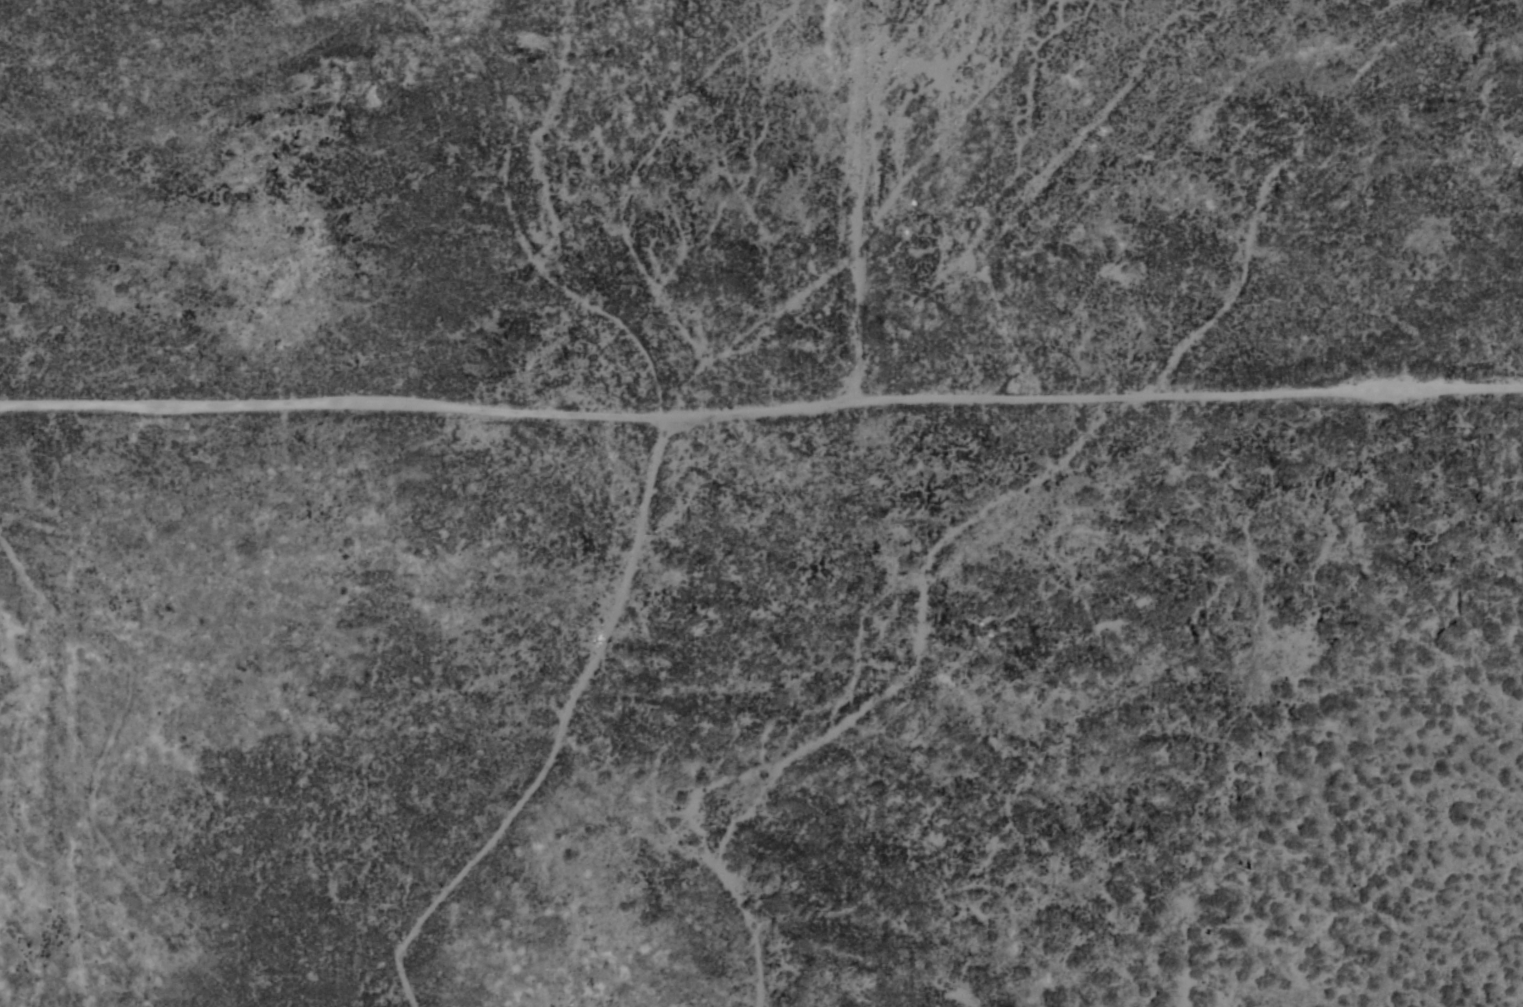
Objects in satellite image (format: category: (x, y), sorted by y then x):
road: (761, 407)

